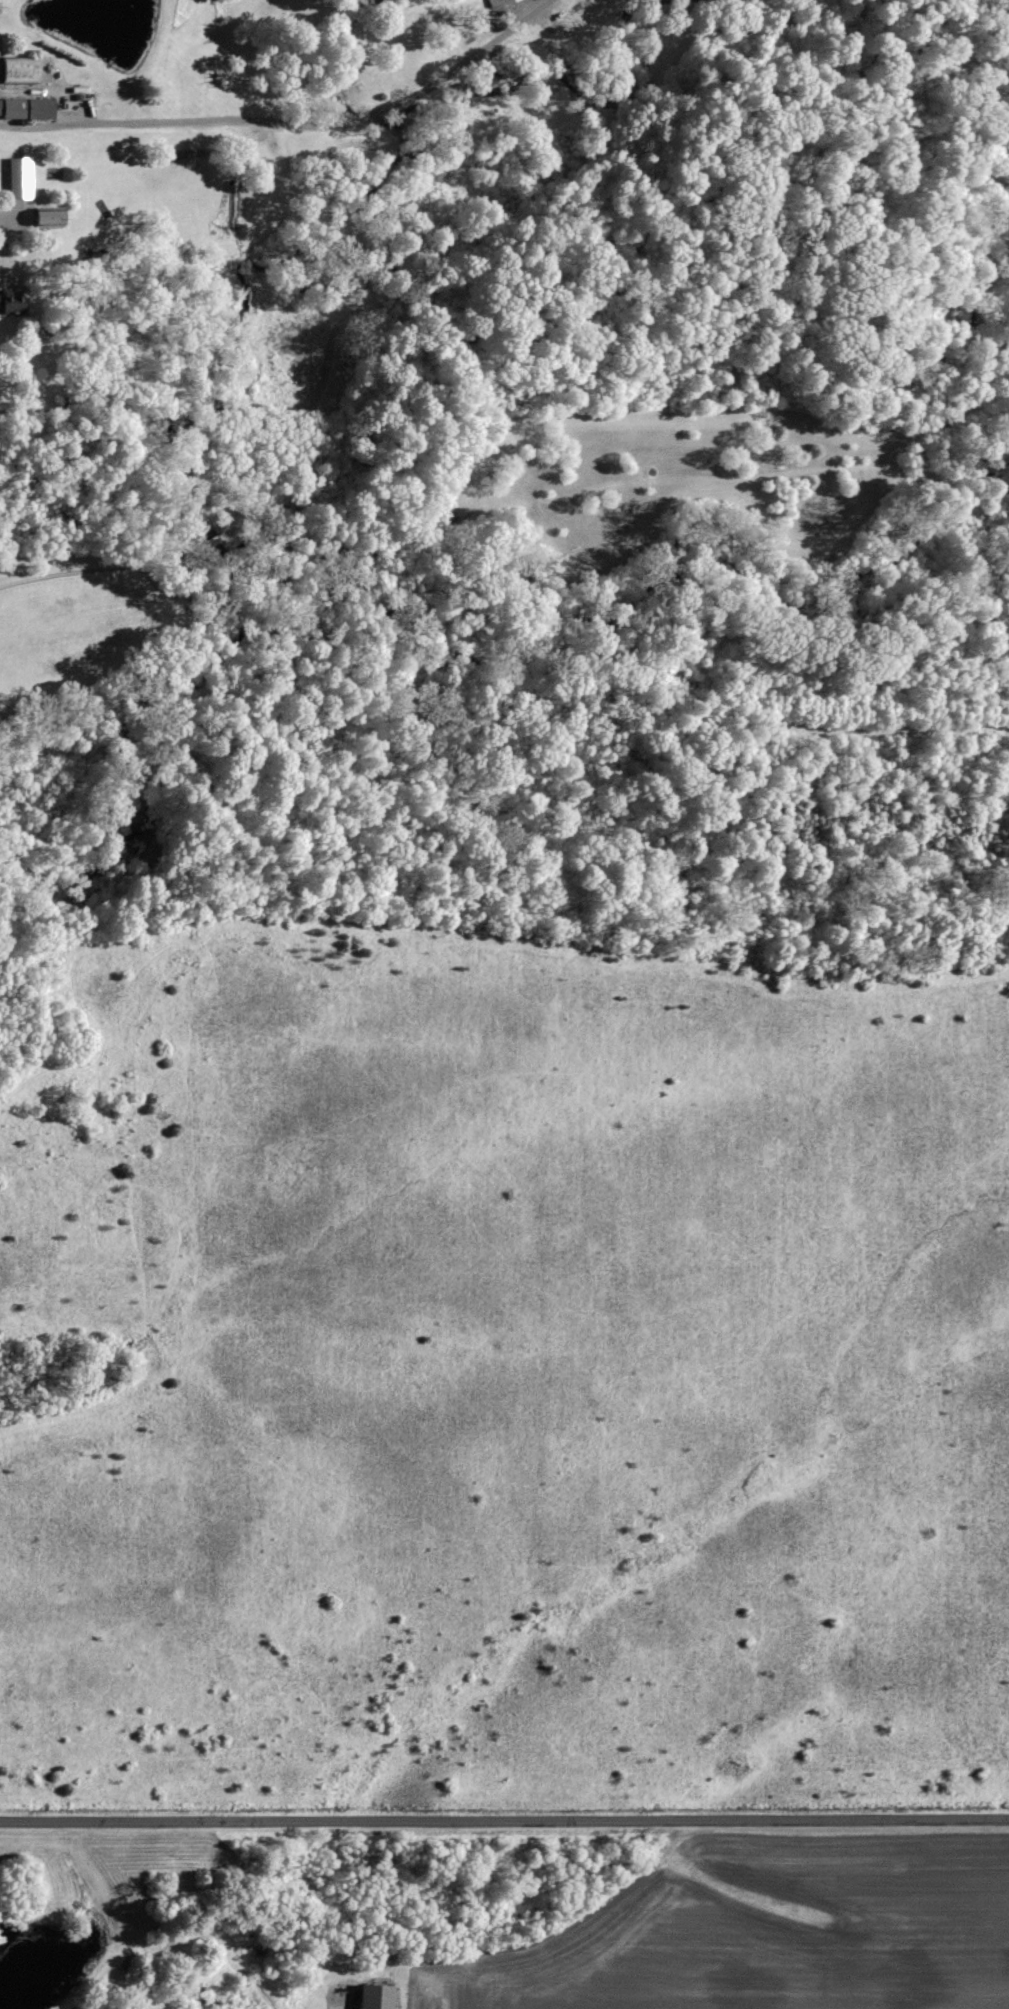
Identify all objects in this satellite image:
building: (492, 1)
building: (22, 73)
building: (25, 109)
building: (16, 179)
building: (44, 218)
building: (8, 304)
road: (504, 1819)
building: (372, 1996)

